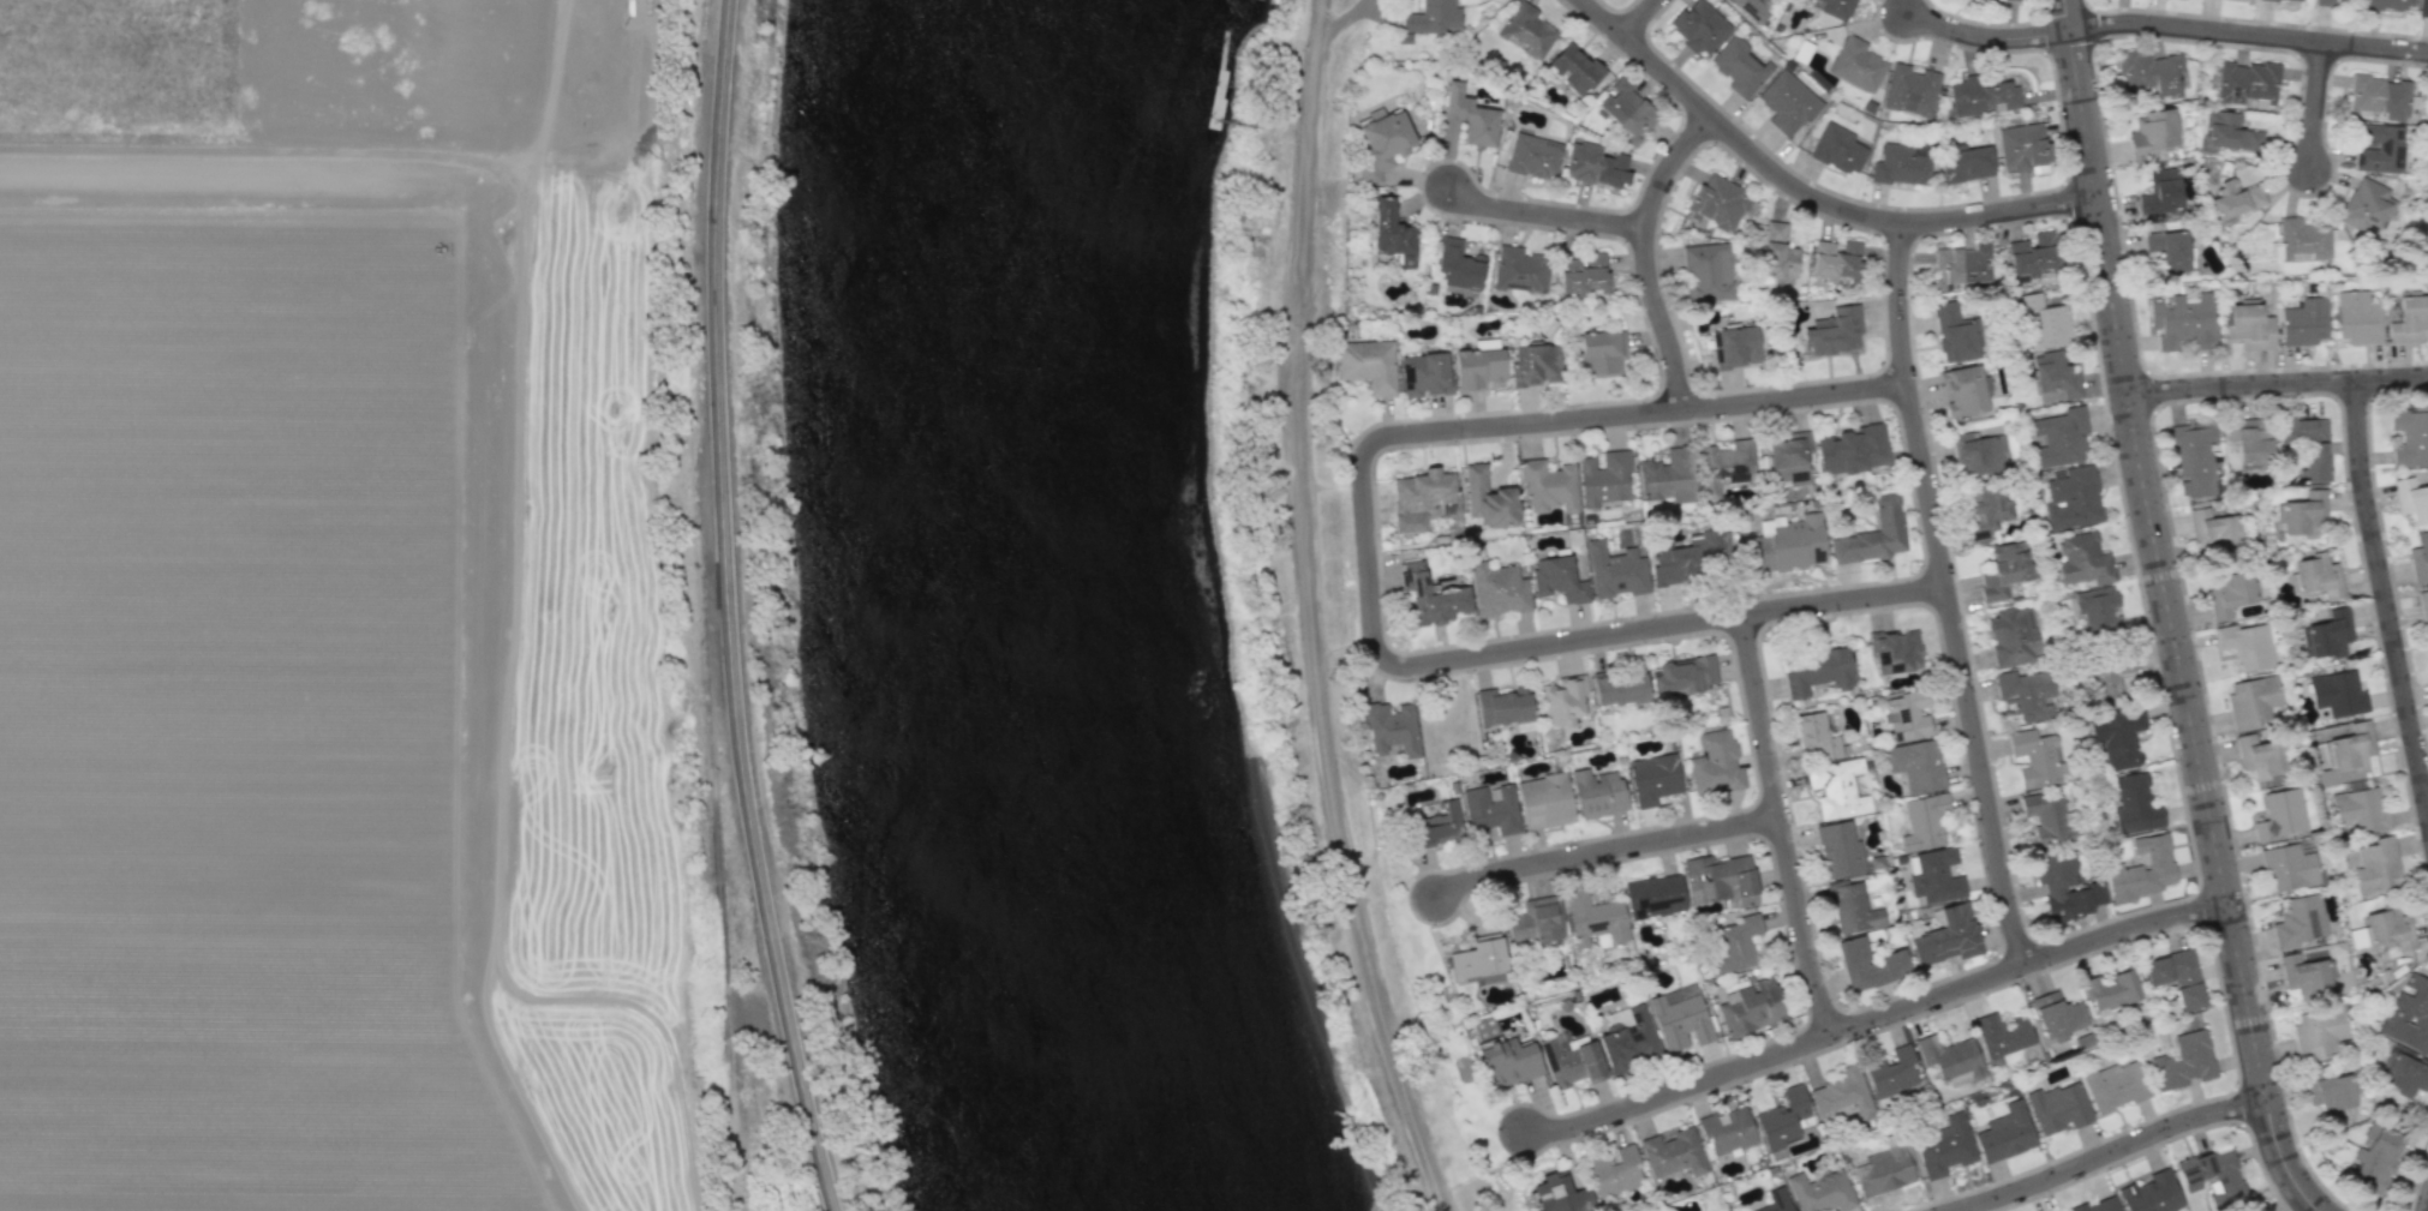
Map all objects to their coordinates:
building: (2003, 0)
building: (2302, 0)
building: (2325, 2)
building: (2391, 4)
building: (1751, 8)
building: (1836, 8)
building: (1434, 18)
road: (1641, 18)
building: (1699, 26)
building: (1527, 30)
road: (1990, 35)
road: (2250, 35)
building: (1856, 65)
building: (1573, 67)
building: (1740, 67)
building: (2149, 72)
building: (2244, 82)
building: (1910, 90)
building: (1984, 96)
building: (2380, 96)
building: (1787, 102)
road: (2316, 104)
building: (1626, 110)
building: (1470, 116)
building: (2229, 132)
building: (2152, 133)
building: (1381, 143)
building: (2025, 148)
building: (1840, 149)
building: (2379, 149)
building: (1533, 156)
building: (1596, 164)
building: (1902, 164)
building: (1964, 164)
building: (2427, 166)
building: (2160, 191)
road: (1810, 193)
building: (2235, 199)
building: (1717, 202)
building: (2366, 205)
road: (1548, 212)
building: (1391, 229)
building: (2303, 239)
building: (2169, 250)
building: (1777, 252)
building: (2032, 256)
road: (1649, 257)
building: (1836, 260)
building: (1961, 265)
building: (1459, 268)
building: (1519, 269)
building: (1706, 272)
building: (1583, 274)
building: (2356, 318)
building: (2409, 318)
building: (2182, 320)
building: (2303, 322)
building: (2043, 323)
building: (2249, 325)
building: (1834, 331)
building: (1952, 334)
building: (1735, 347)
building: (1601, 353)
building: (1368, 364)
building: (1478, 365)
building: (1535, 365)
building: (1424, 374)
building: (2053, 374)
road: (2278, 384)
building: (1963, 390)
building: (2302, 430)
building: (2410, 434)
building: (2059, 437)
building: (2251, 444)
building: (1853, 449)
building: (1979, 452)
building: (1789, 458)
building: (2194, 458)
building: (2314, 462)
building: (1724, 466)
building: (1669, 476)
building: (1603, 479)
building: (1548, 485)
building: (2071, 497)
building: (1421, 498)
building: (1488, 498)
building: (2411, 499)
building: (1986, 510)
building: (2303, 514)
building: (2212, 528)
building: (1873, 534)
building: (1787, 544)
building: (1687, 557)
building: (2420, 558)
building: (2082, 559)
road: (1371, 564)
building: (1615, 570)
building: (2004, 570)
building: (2316, 576)
building: (1557, 578)
building: (1500, 590)
building: (2229, 594)
road: (1950, 595)
building: (1430, 596)
road: (2386, 599)
building: (2424, 607)
building: (2098, 609)
road: (723, 610)
river: (1023, 611)
road: (1306, 612)
road: (2172, 612)
building: (2330, 634)
building: (2013, 636)
building: (2245, 645)
building: (1896, 651)
building: (1817, 671)
building: (1682, 676)
building: (2109, 682)
building: (1620, 688)
building: (2026, 694)
building: (2338, 694)
building: (1562, 701)
building: (2251, 701)
building: (1502, 707)
building: (1907, 715)
building: (1391, 729)
building: (1816, 737)
building: (2117, 737)
building: (2260, 756)
building: (2035, 759)
building: (1715, 763)
building: (1915, 765)
building: (1653, 778)
building: (1836, 789)
building: (1597, 792)
building: (1544, 801)
building: (2135, 804)
building: (1491, 809)
building: (2358, 810)
building: (2280, 815)
building: (2049, 816)
building: (1924, 821)
building: (1439, 826)
road: (1783, 827)
building: (1838, 850)
road: (1607, 851)
building: (2376, 865)
building: (2142, 868)
building: (2289, 868)
building: (1934, 875)
building: (1720, 880)
building: (2065, 886)
building: (1653, 895)
building: (1852, 907)
building: (1592, 917)
building: (2298, 921)
building: (1533, 922)
building: (2390, 929)
building: (1948, 936)
building: (1735, 942)
building: (1478, 960)
building: (1868, 964)
building: (2304, 976)
building: (2176, 977)
building: (2111, 990)
building: (1751, 1007)
building: (2057, 1015)
building: (2409, 1015)
building: (1680, 1017)
road: (1876, 1021)
building: (1484, 1027)
building: (2318, 1032)
building: (2002, 1036)
building: (1627, 1038)
building: (1950, 1057)
building: (1509, 1061)
building: (1571, 1061)
building: (2184, 1061)
building: (1892, 1073)
building: (2403, 1074)
building: (2115, 1086)
building: (1841, 1093)
building: (2330, 1093)
building: (2057, 1108)
building: (1783, 1117)
building: (1727, 1131)
building: (2005, 1133)
building: (1944, 1146)
road: (2110, 1152)
building: (1673, 1153)
building: (2375, 1157)
building: (1884, 1168)
building: (1615, 1173)
building: (2213, 1176)
building: (1822, 1191)
building: (1560, 1194)
building: (2151, 1194)
building: (1777, 1200)
building: (2097, 1205)

